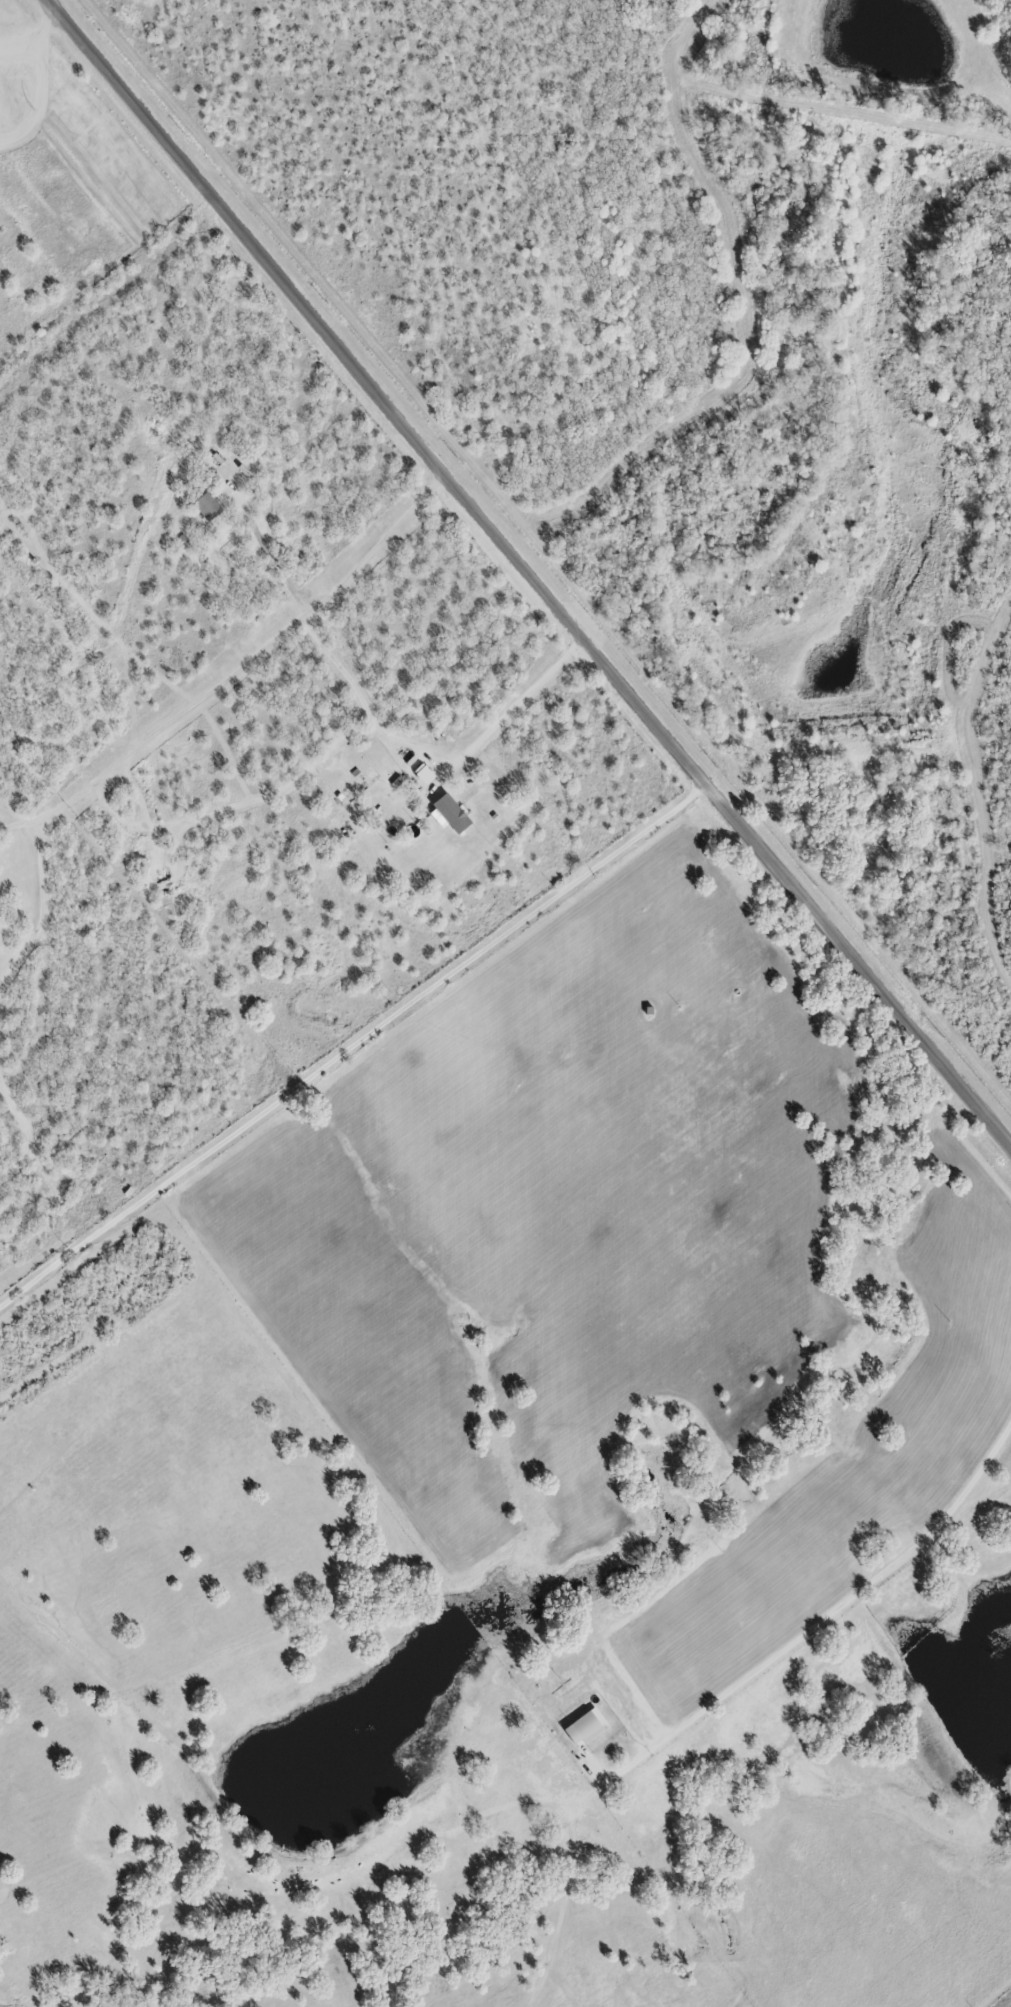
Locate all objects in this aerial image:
road: (36, 35)
road: (384, 391)
building: (208, 509)
road: (277, 566)
road: (239, 669)
road: (516, 707)
road: (285, 786)
road: (133, 792)
building: (452, 815)
road: (863, 955)
road: (357, 1046)
road: (730, 1698)

